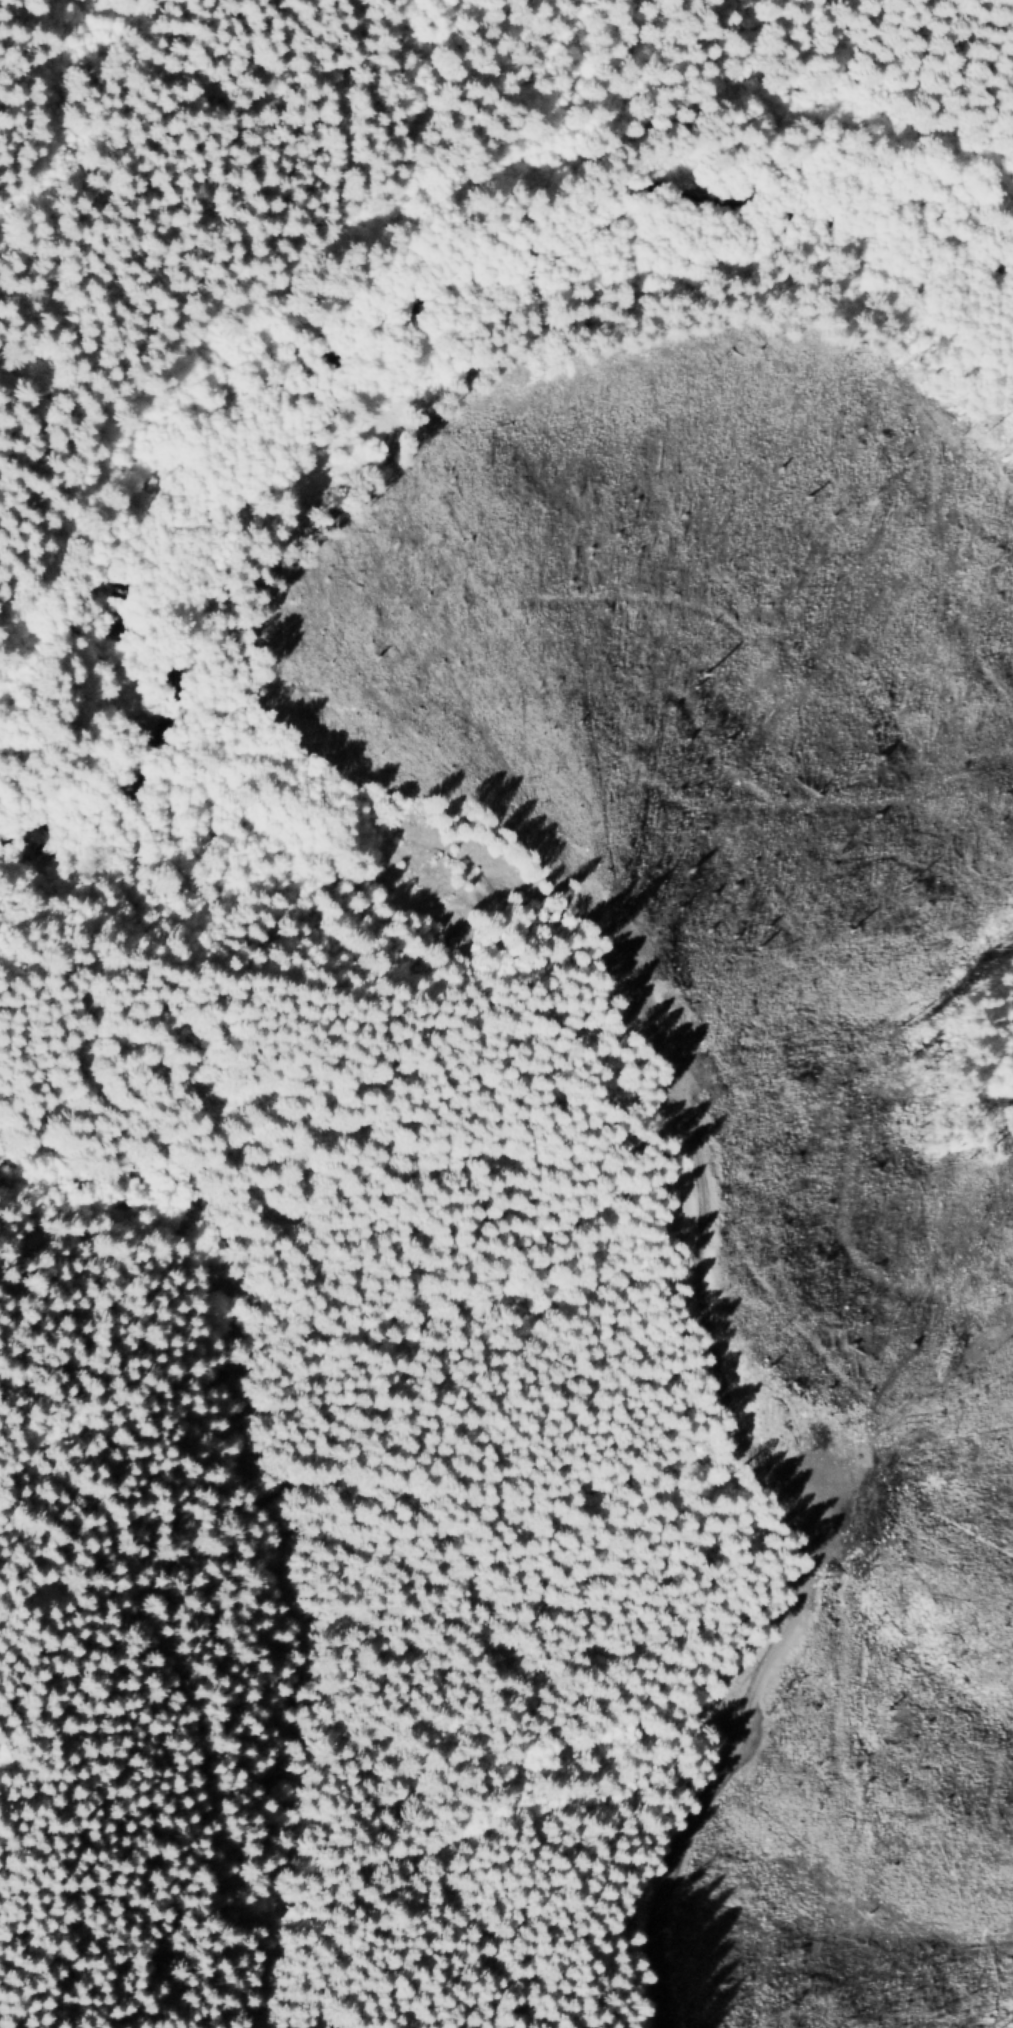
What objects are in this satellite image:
road: (980, 143)
road: (367, 201)
river: (367, 337)

